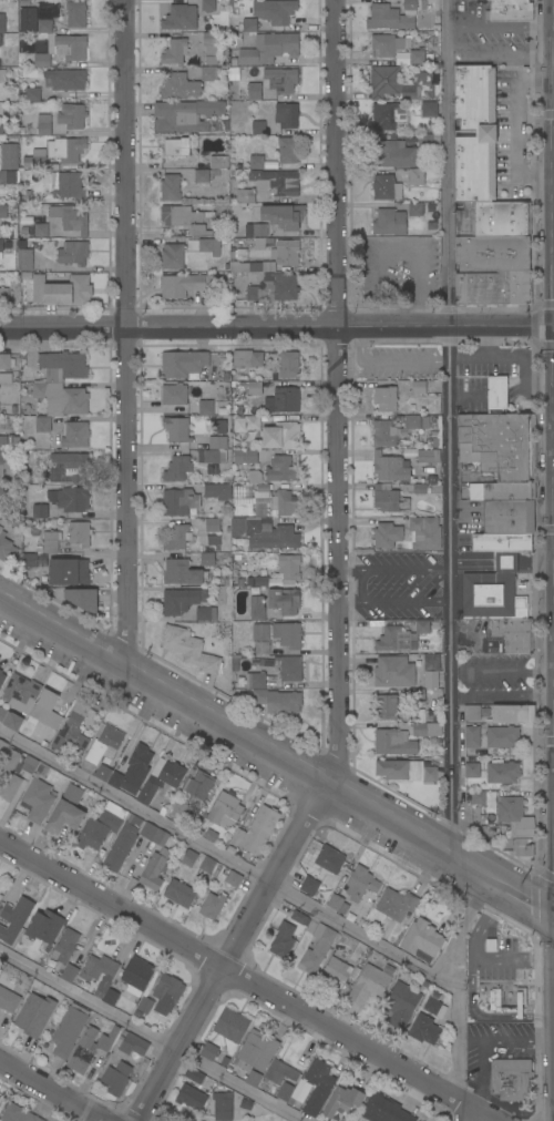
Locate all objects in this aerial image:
building: (410, 4)
building: (507, 10)
building: (275, 11)
building: (530, 11)
building: (75, 14)
building: (47, 16)
building: (186, 16)
building: (383, 16)
building: (28, 19)
building: (2, 22)
building: (249, 24)
road: (501, 26)
building: (0, 40)
building: (389, 44)
building: (211, 48)
building: (268, 48)
building: (62, 49)
building: (174, 51)
road: (501, 54)
building: (417, 57)
building: (211, 73)
building: (2, 75)
building: (64, 80)
building: (279, 80)
building: (383, 81)
building: (178, 86)
building: (420, 88)
building: (33, 89)
building: (254, 89)
building: (429, 109)
building: (286, 114)
building: (72, 115)
building: (185, 115)
building: (387, 115)
road: (517, 123)
building: (44, 124)
building: (1, 128)
building: (258, 128)
building: (484, 133)
building: (428, 140)
building: (176, 146)
building: (194, 146)
building: (65, 149)
building: (288, 150)
building: (393, 154)
building: (9, 155)
building: (39, 161)
building: (219, 162)
building: (256, 162)
road: (551, 171)
building: (201, 175)
building: (8, 176)
building: (416, 176)
building: (275, 182)
building: (70, 186)
building: (170, 187)
building: (386, 187)
building: (245, 196)
building: (414, 208)
building: (3, 211)
building: (288, 217)
building: (70, 218)
building: (493, 218)
building: (188, 220)
building: (389, 222)
building: (235, 223)
building: (41, 230)
building: (259, 230)
building: (264, 242)
building: (199, 245)
building: (1, 246)
road: (397, 246)
building: (286, 252)
building: (73, 253)
building: (492, 253)
building: (238, 254)
building: (172, 256)
building: (24, 259)
building: (252, 266)
road: (551, 273)
building: (184, 285)
building: (274, 287)
building: (493, 288)
building: (61, 292)
building: (3, 294)
road: (552, 324)
road: (275, 326)
road: (125, 332)
building: (246, 358)
building: (4, 361)
building: (183, 364)
building: (288, 365)
building: (61, 383)
building: (418, 386)
building: (253, 387)
road: (551, 390)
building: (496, 393)
road: (335, 394)
building: (174, 395)
building: (384, 398)
building: (283, 399)
building: (207, 407)
building: (414, 421)
building: (253, 422)
building: (42, 425)
road: (447, 427)
building: (176, 429)
building: (74, 434)
building: (382, 434)
building: (218, 435)
building: (280, 435)
building: (3, 442)
building: (499, 445)
building: (420, 455)
building: (245, 456)
building: (212, 459)
building: (3, 466)
building: (71, 467)
building: (177, 468)
building: (390, 468)
building: (281, 469)
building: (249, 485)
building: (416, 488)
building: (217, 491)
building: (502, 491)
building: (1, 496)
building: (70, 499)
building: (389, 499)
building: (178, 501)
building: (275, 501)
road: (551, 502)
building: (242, 510)
building: (40, 511)
building: (509, 517)
building: (212, 524)
building: (247, 526)
building: (79, 533)
building: (424, 533)
building: (386, 536)
building: (176, 537)
building: (277, 539)
building: (50, 542)
building: (502, 542)
road: (553, 547)
building: (6, 548)
building: (207, 559)
building: (30, 560)
building: (506, 561)
building: (288, 568)
road: (393, 570)
building: (68, 572)
building: (182, 572)
building: (42, 573)
building: (257, 582)
building: (491, 597)
building: (80, 599)
building: (284, 600)
road: (552, 600)
road: (393, 603)
building: (186, 605)
building: (257, 608)
building: (513, 633)
building: (288, 634)
building: (400, 638)
building: (260, 639)
building: (189, 649)
building: (288, 667)
building: (431, 670)
building: (393, 671)
road: (501, 671)
building: (1, 677)
building: (255, 680)
building: (20, 692)
building: (416, 693)
building: (277, 701)
road: (553, 706)
building: (386, 707)
building: (44, 710)
building: (474, 712)
building: (512, 713)
building: (10, 720)
building: (427, 730)
building: (71, 731)
building: (471, 736)
building: (502, 736)
building: (393, 742)
building: (44, 744)
building: (102, 747)
road: (276, 757)
building: (16, 760)
building: (472, 770)
building: (132, 771)
building: (404, 771)
building: (502, 772)
building: (102, 773)
building: (161, 778)
building: (8, 784)
building: (198, 784)
road: (553, 792)
building: (478, 797)
building: (38, 799)
building: (176, 808)
building: (224, 809)
building: (63, 817)
building: (514, 818)
building: (101, 826)
building: (256, 828)
building: (211, 835)
building: (519, 846)
building: (120, 847)
building: (154, 857)
building: (188, 857)
building: (329, 859)
building: (207, 864)
building: (233, 878)
building: (360, 883)
road: (276, 884)
building: (309, 886)
building: (179, 893)
building: (335, 901)
building: (396, 904)
building: (212, 906)
building: (14, 918)
building: (299, 918)
road: (461, 926)
building: (44, 927)
building: (283, 939)
building: (64, 946)
building: (427, 947)
building: (317, 949)
road: (226, 952)
road: (473, 959)
building: (337, 968)
building: (99, 970)
building: (69, 972)
building: (136, 972)
building: (355, 974)
road: (248, 981)
building: (369, 985)
building: (168, 989)
building: (110, 997)
building: (8, 1000)
building: (401, 1002)
building: (144, 1005)
building: (432, 1005)
road: (471, 1006)
building: (34, 1015)
road: (537, 1016)
road: (517, 1017)
building: (230, 1026)
building: (423, 1029)
building: (69, 1030)
road: (151, 1035)
road: (505, 1041)
building: (134, 1043)
building: (89, 1048)
building: (208, 1051)
building: (255, 1051)
building: (279, 1072)
building: (194, 1074)
road: (480, 1074)
building: (116, 1077)
building: (253, 1078)
building: (511, 1079)
building: (317, 1086)
road: (53, 1089)
building: (285, 1091)
building: (298, 1092)
building: (191, 1098)
building: (342, 1100)
building: (0, 1101)
building: (246, 1104)
building: (222, 1105)
building: (383, 1109)
road: (76, 1110)
building: (18, 1113)
building: (343, 1119)

